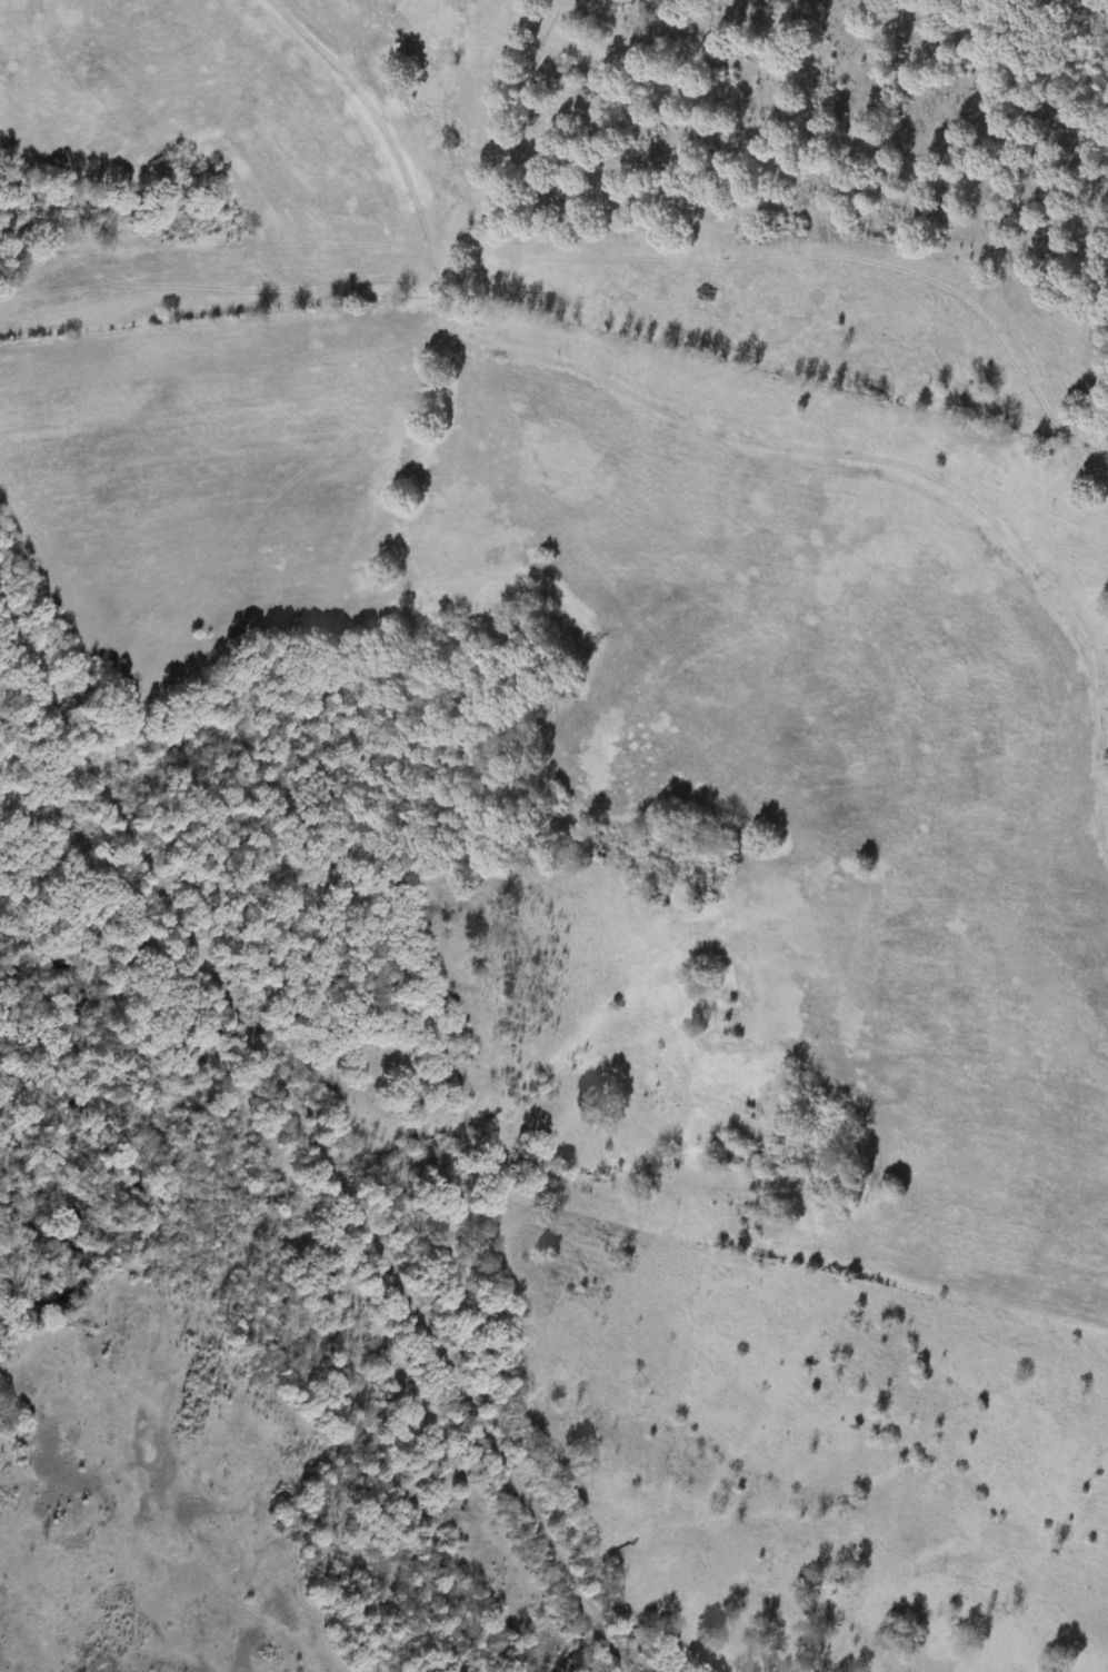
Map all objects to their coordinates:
railway: (316, 1134)

